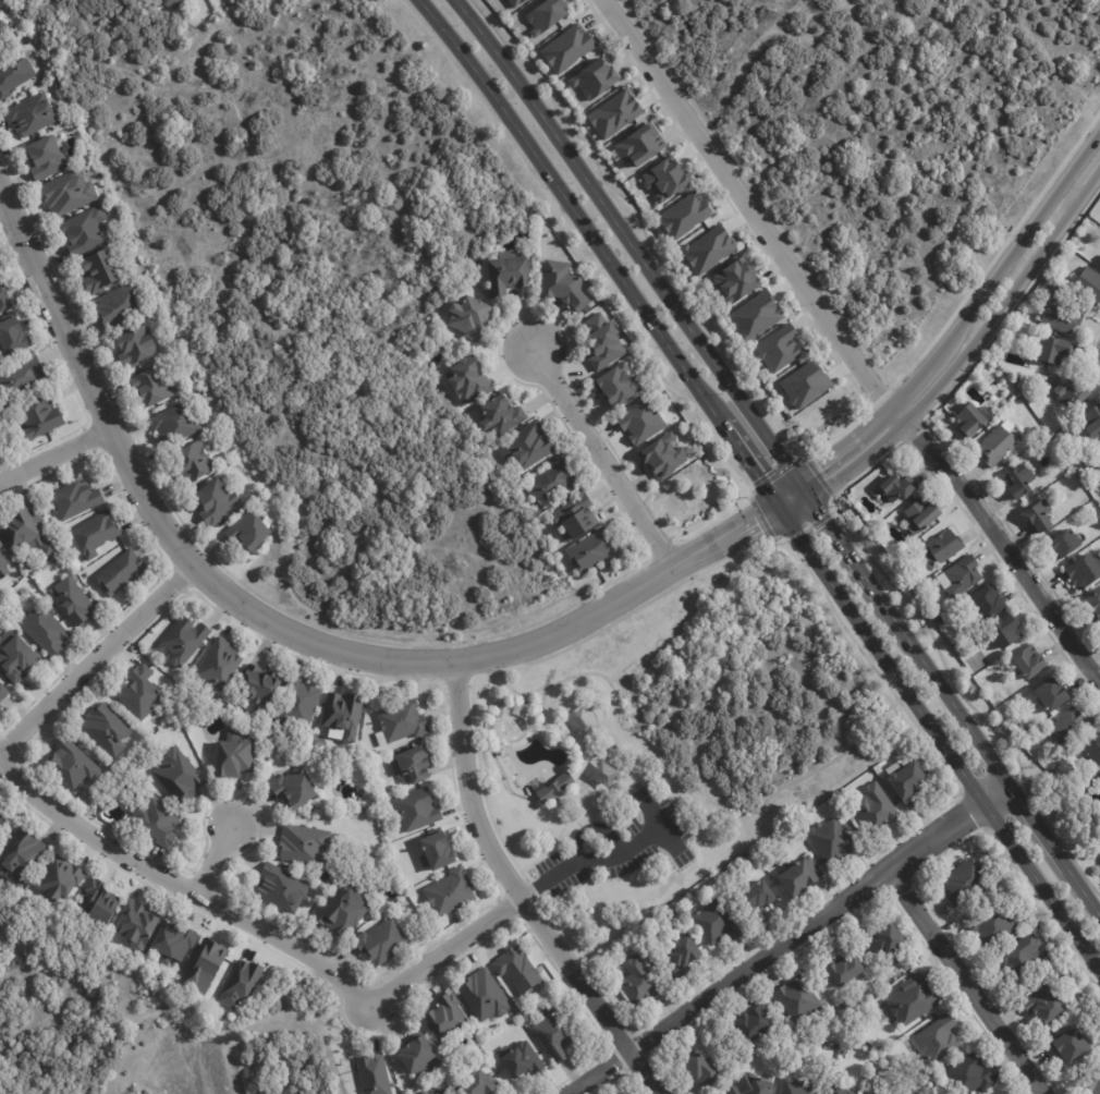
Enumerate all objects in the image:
building: (171, 2)
building: (514, 2)
building: (546, 15)
building: (2, 33)
building: (567, 48)
road: (1043, 51)
building: (14, 74)
building: (594, 78)
building: (30, 113)
building: (614, 113)
park: (885, 134)
building: (640, 145)
building: (45, 156)
building: (664, 180)
building: (68, 192)
road: (740, 202)
building: (684, 215)
building: (84, 229)
building: (708, 248)
building: (97, 270)
building: (506, 271)
building: (735, 280)
building: (1089, 283)
building: (563, 284)
park: (316, 289)
building: (3, 297)
building: (120, 305)
road: (255, 306)
building: (756, 315)
building: (1063, 316)
building: (468, 317)
road: (955, 332)
building: (12, 338)
building: (602, 341)
building: (135, 345)
building: (779, 348)
building: (1056, 350)
road: (960, 357)
building: (23, 374)
building: (468, 379)
building: (805, 384)
building: (616, 385)
building: (151, 386)
building: (1072, 393)
building: (500, 414)
building: (38, 417)
building: (970, 420)
building: (640, 421)
building: (175, 422)
building: (1092, 422)
building: (1051, 428)
building: (1060, 434)
building: (999, 443)
building: (526, 445)
building: (0, 446)
building: (1099, 446)
building: (662, 455)
road: (780, 455)
road: (601, 457)
road: (56, 458)
building: (192, 461)
building: (1067, 471)
building: (551, 477)
building: (1071, 477)
traffic signals: (796, 478)
building: (1020, 479)
building: (1092, 483)
road: (761, 484)
building: (897, 488)
traffic signals: (770, 496)
traffic signals: (810, 498)
building: (74, 499)
building: (215, 501)
building: (921, 514)
building: (1040, 514)
building: (574, 515)
traffic signals: (785, 518)
building: (26, 531)
road: (720, 531)
building: (249, 532)
building: (95, 533)
road: (1000, 538)
building: (1, 543)
road: (728, 543)
building: (1064, 544)
building: (943, 547)
building: (590, 549)
building: (3, 566)
building: (1085, 570)
building: (120, 572)
building: (961, 575)
building: (913, 581)
road: (229, 597)
building: (74, 600)
building: (989, 600)
building: (1095, 601)
building: (44, 629)
building: (1010, 629)
building: (184, 640)
building: (15, 658)
building: (1030, 661)
road: (96, 664)
building: (220, 664)
road: (887, 683)
building: (259, 685)
building: (2, 691)
building: (139, 693)
building: (1052, 694)
building: (300, 702)
road: (457, 703)
building: (0, 706)
building: (343, 714)
building: (401, 722)
building: (1071, 727)
building: (106, 729)
park: (674, 738)
building: (1093, 751)
building: (499, 754)
building: (234, 755)
building: (72, 763)
building: (413, 764)
building: (178, 775)
building: (1099, 776)
building: (909, 783)
building: (552, 786)
building: (292, 789)
building: (876, 807)
building: (416, 810)
building: (2, 815)
building: (158, 823)
building: (833, 840)
building: (304, 844)
building: (436, 851)
parking lot: (621, 855)
building: (21, 856)
road: (222, 858)
road: (594, 860)
building: (800, 876)
building: (60, 879)
building: (964, 880)
road: (185, 888)
building: (281, 888)
building: (450, 892)
building: (758, 900)
building: (99, 902)
building: (343, 909)
building: (717, 923)
building: (137, 925)
building: (994, 925)
road: (542, 928)
building: (882, 939)
building: (382, 941)
building: (173, 943)
road: (789, 943)
road: (449, 955)
building: (682, 956)
building: (1022, 957)
building: (205, 965)
building: (844, 968)
building: (517, 970)
building: (638, 982)
building: (241, 984)
road: (968, 984)
building: (485, 996)
building: (798, 1000)
building: (913, 1000)
building: (1046, 1005)
building: (447, 1016)
building: (526, 1019)
building: (754, 1025)
building: (555, 1037)
building: (938, 1038)
building: (1072, 1046)
building: (845, 1049)
building: (417, 1055)
building: (522, 1061)
building: (701, 1071)
building: (374, 1074)
building: (968, 1075)
building: (477, 1084)
building: (1091, 1084)
building: (751, 1085)
building: (795, 1087)
building: (841, 1091)

